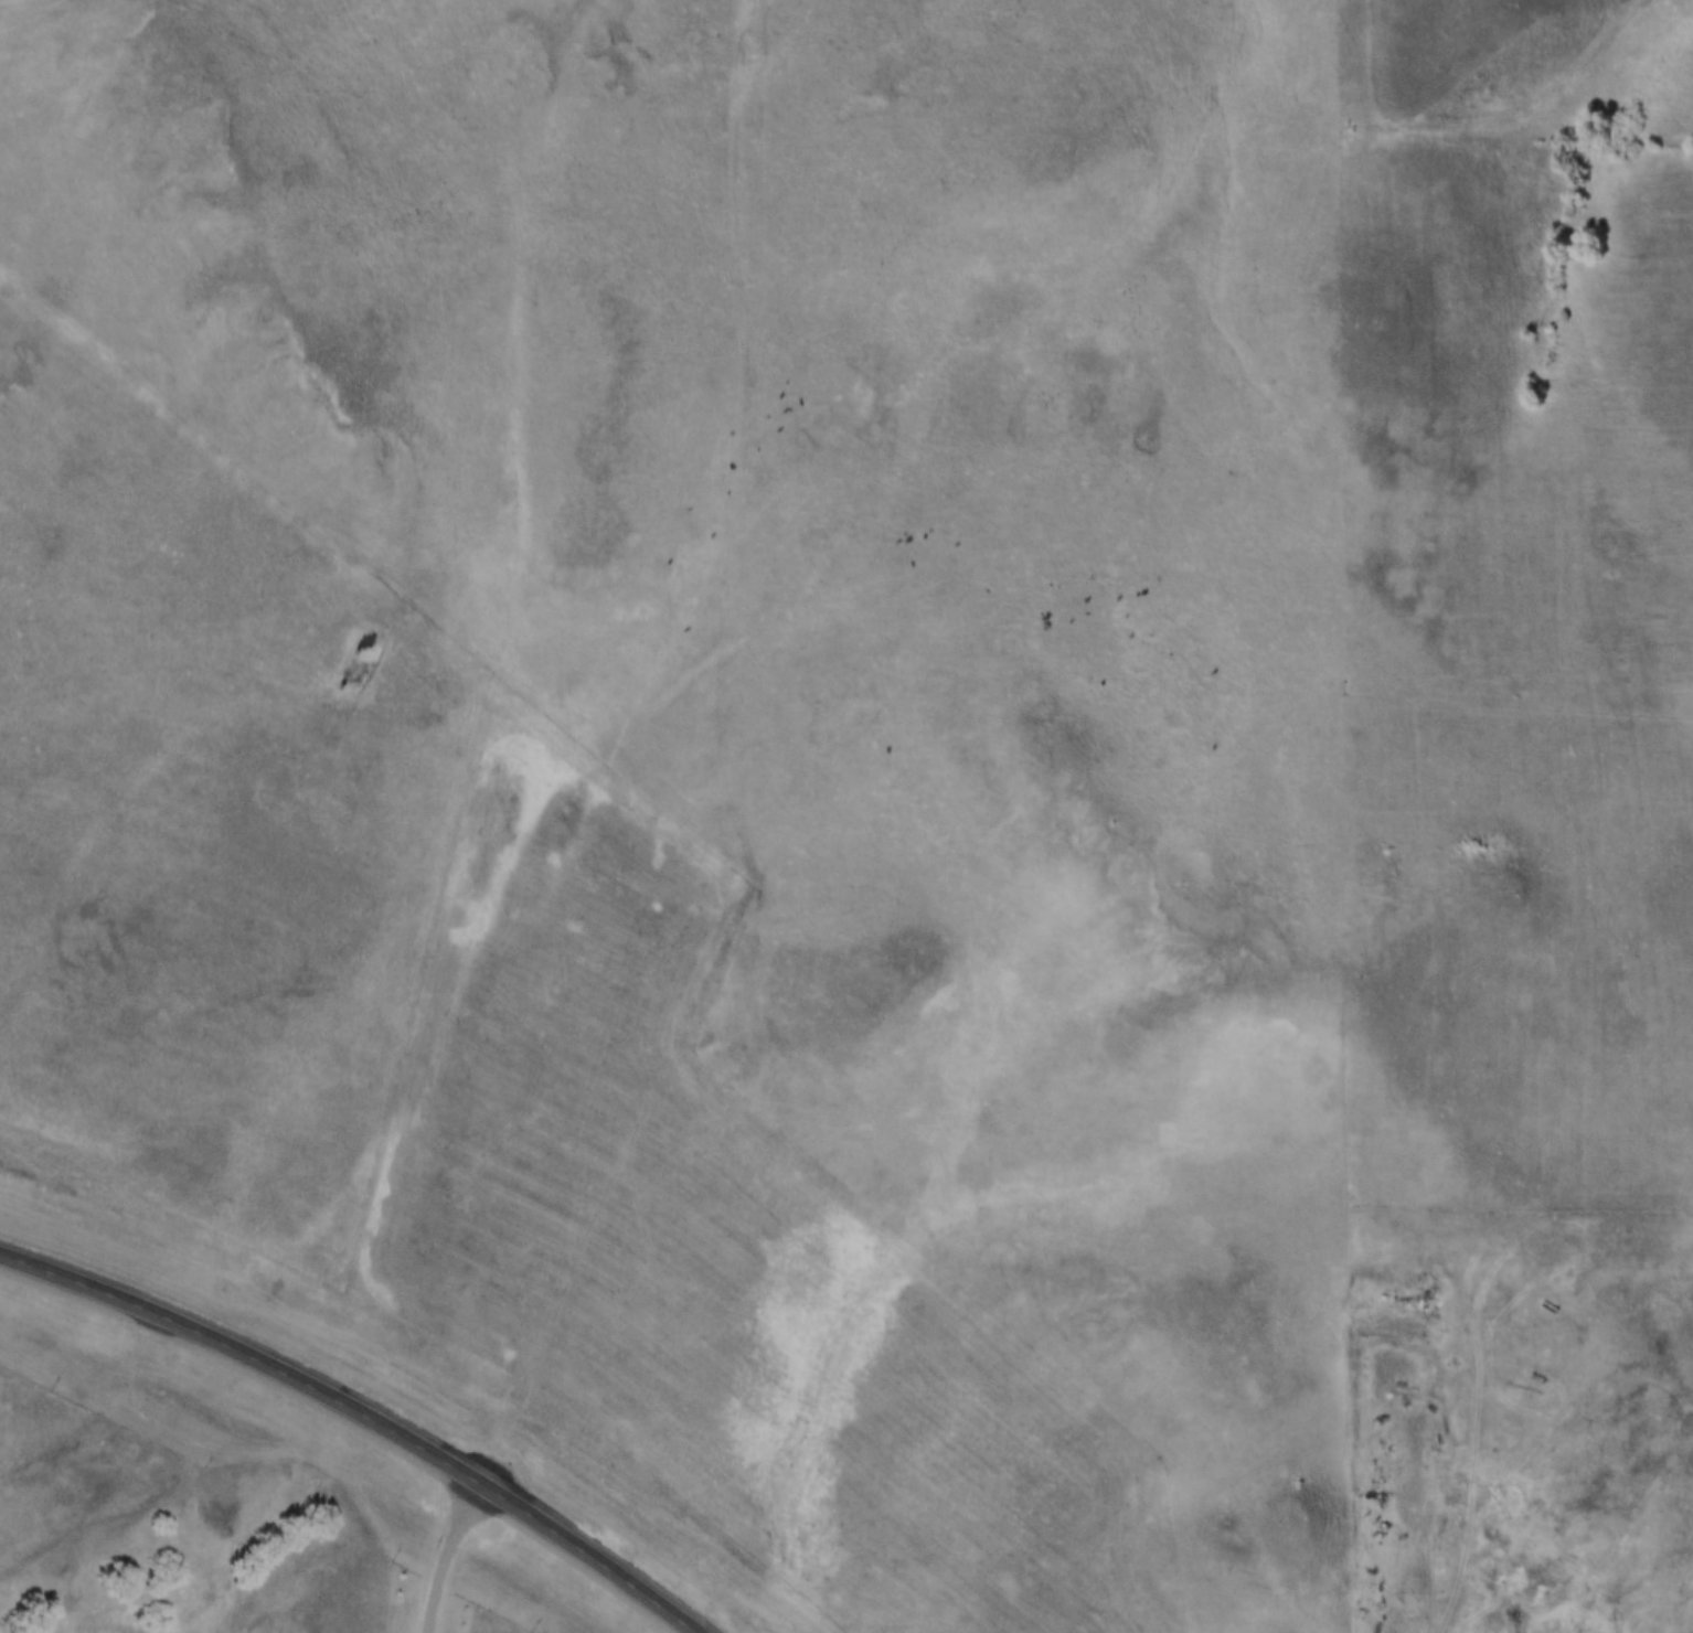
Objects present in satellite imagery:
road: (40, 12)
road: (180, 611)
road: (725, 617)
road: (1522, 702)
road: (1646, 1324)
road: (364, 1417)
road: (454, 1557)

